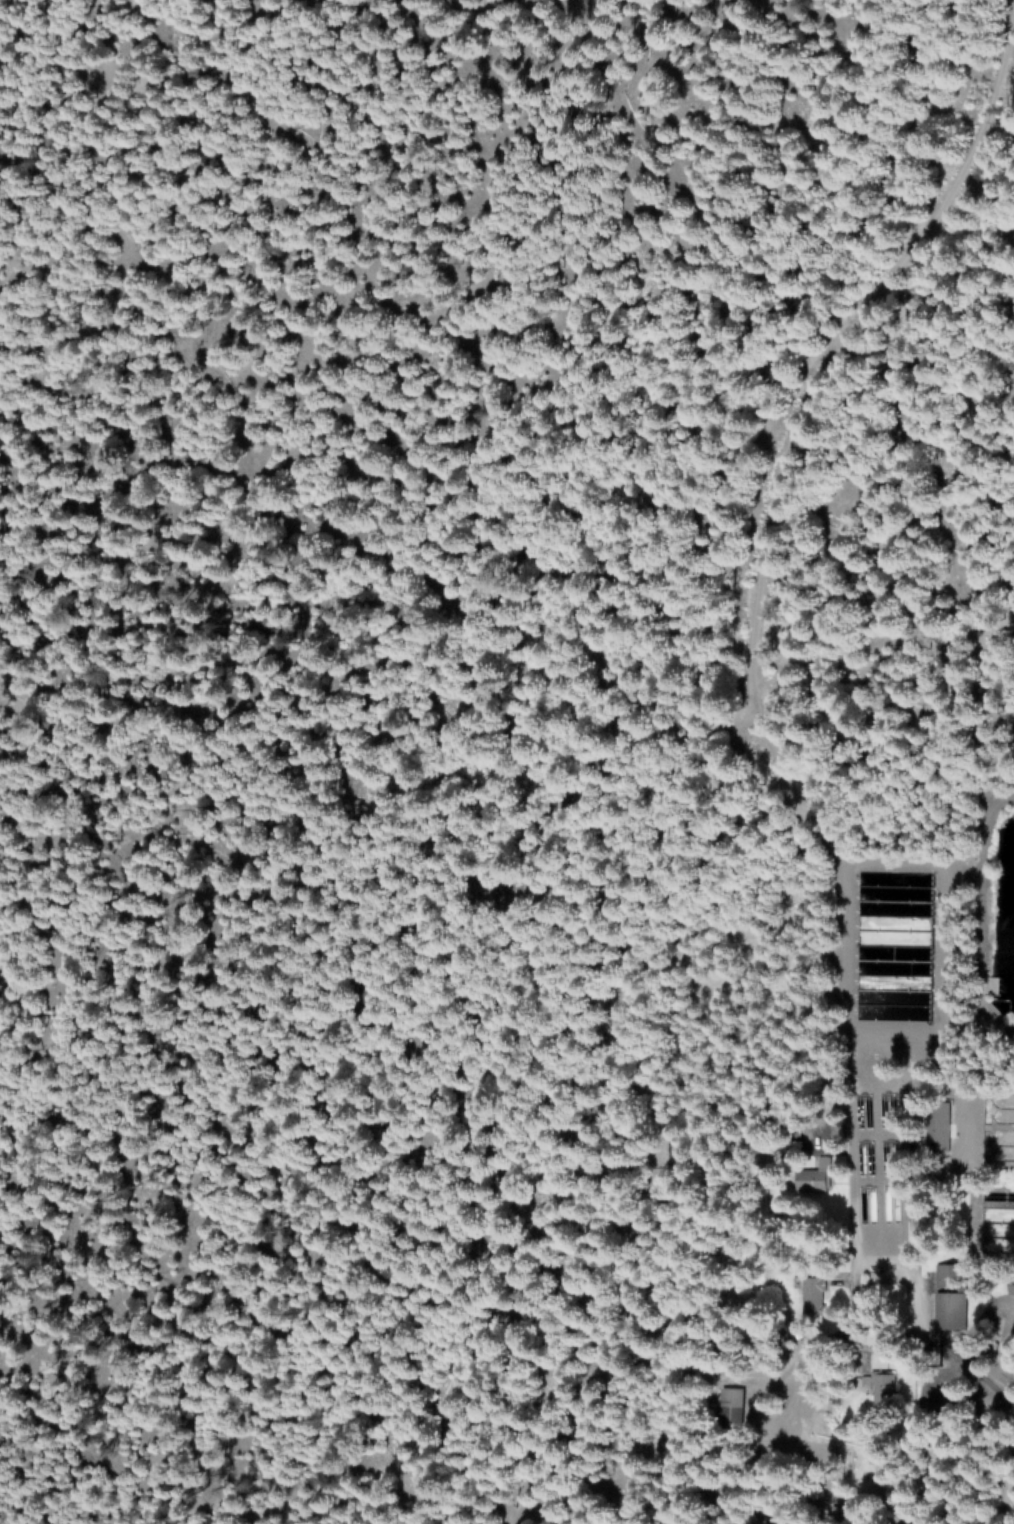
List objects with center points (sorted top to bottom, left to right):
road: (829, 371)
building: (939, 1121)
aquafarm: (879, 1140)
building: (813, 1178)
parking lot: (926, 1267)
building: (813, 1294)
building: (950, 1309)
road: (923, 1328)
building: (732, 1407)
road: (1011, 1513)

